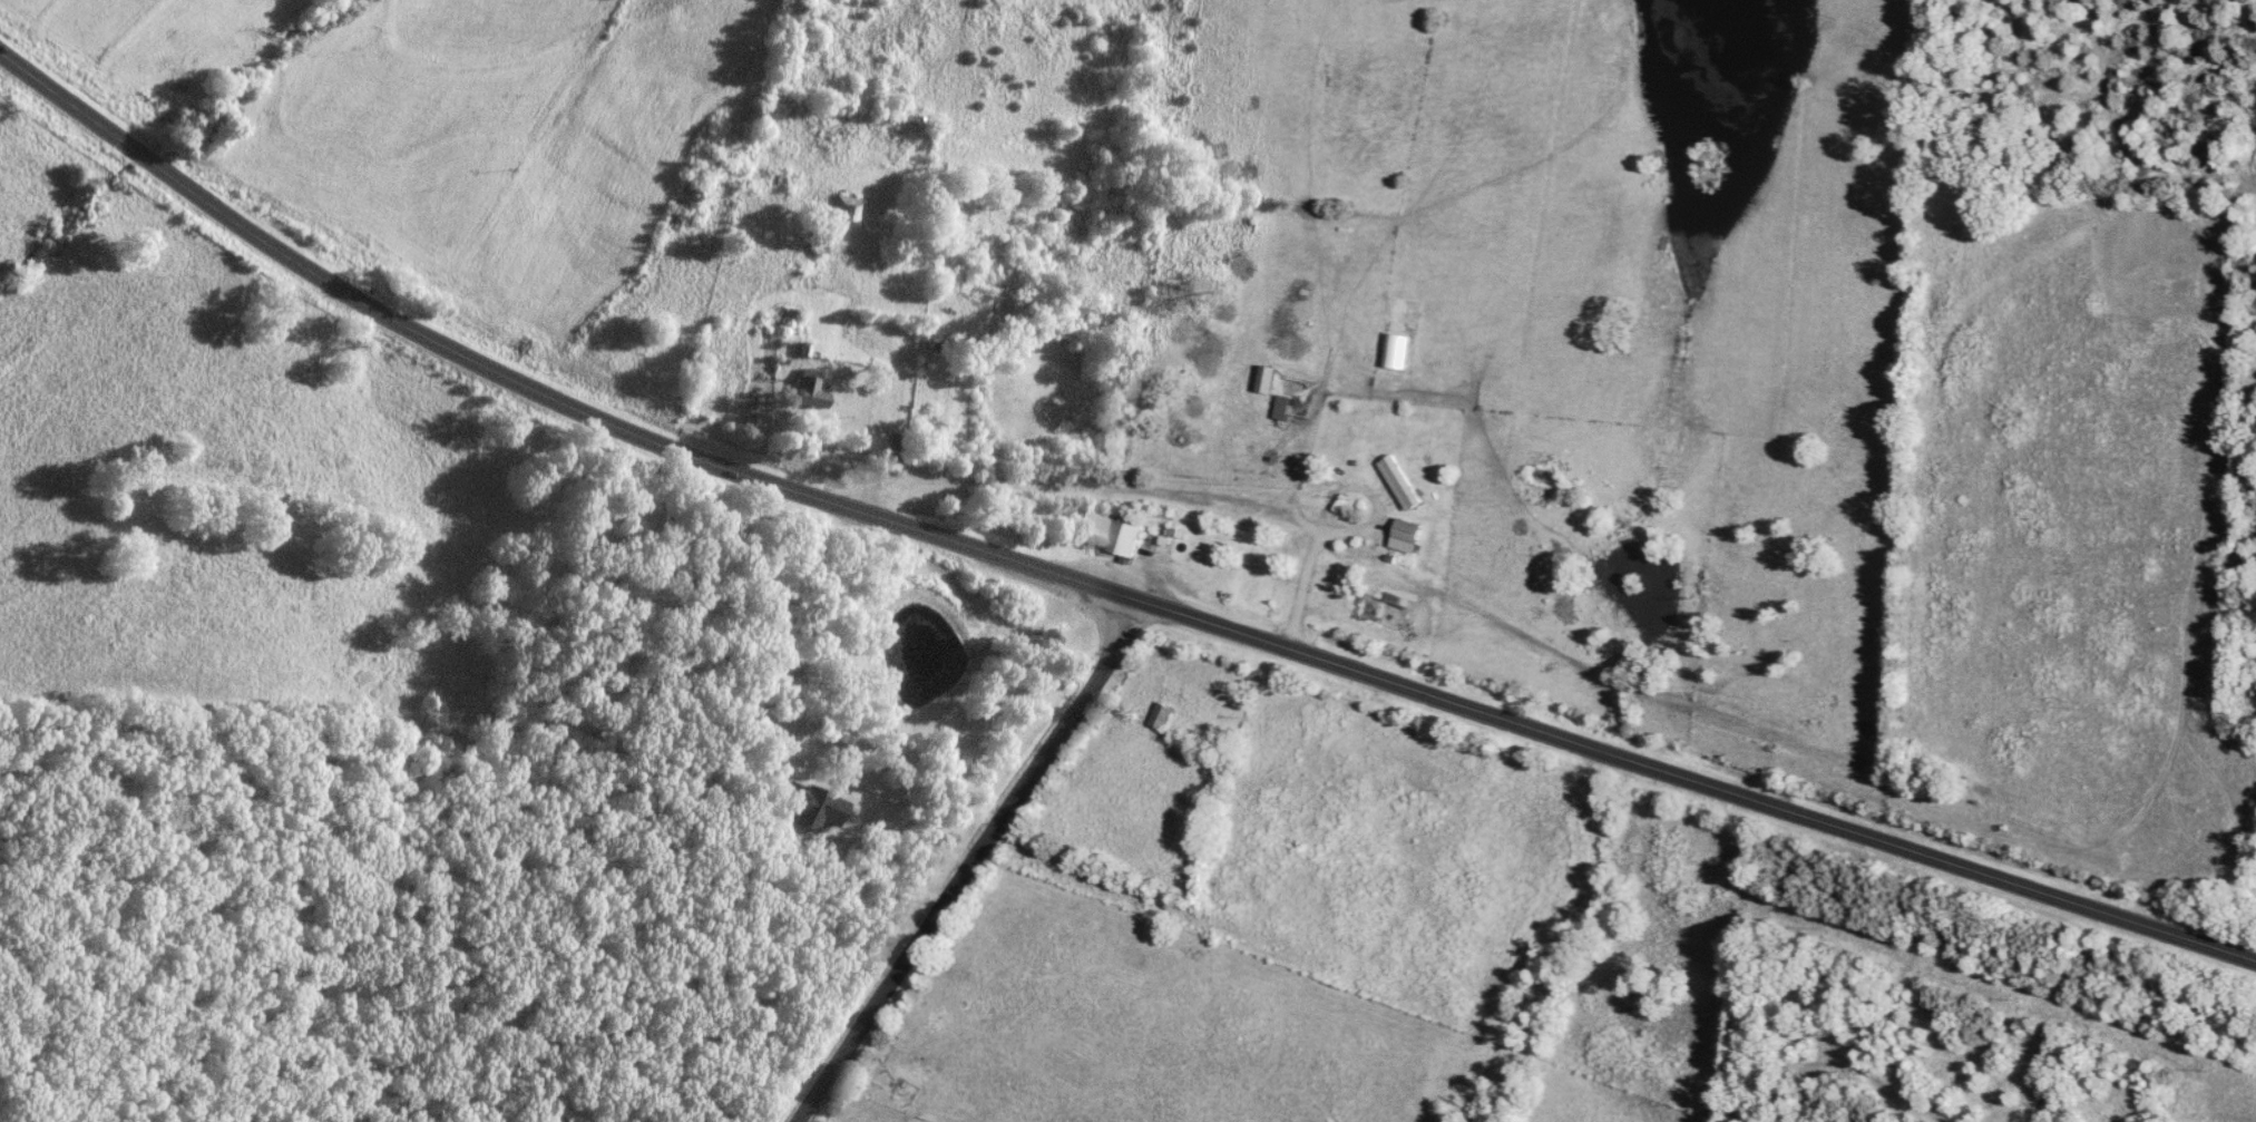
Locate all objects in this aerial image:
building: (782, 182)
building: (848, 209)
building: (820, 244)
building: (810, 392)
building: (1281, 409)
building: (881, 448)
building: (1402, 480)
building: (1406, 531)
building: (1106, 533)
road: (1087, 591)
building: (1162, 718)
building: (809, 807)
road: (973, 867)

